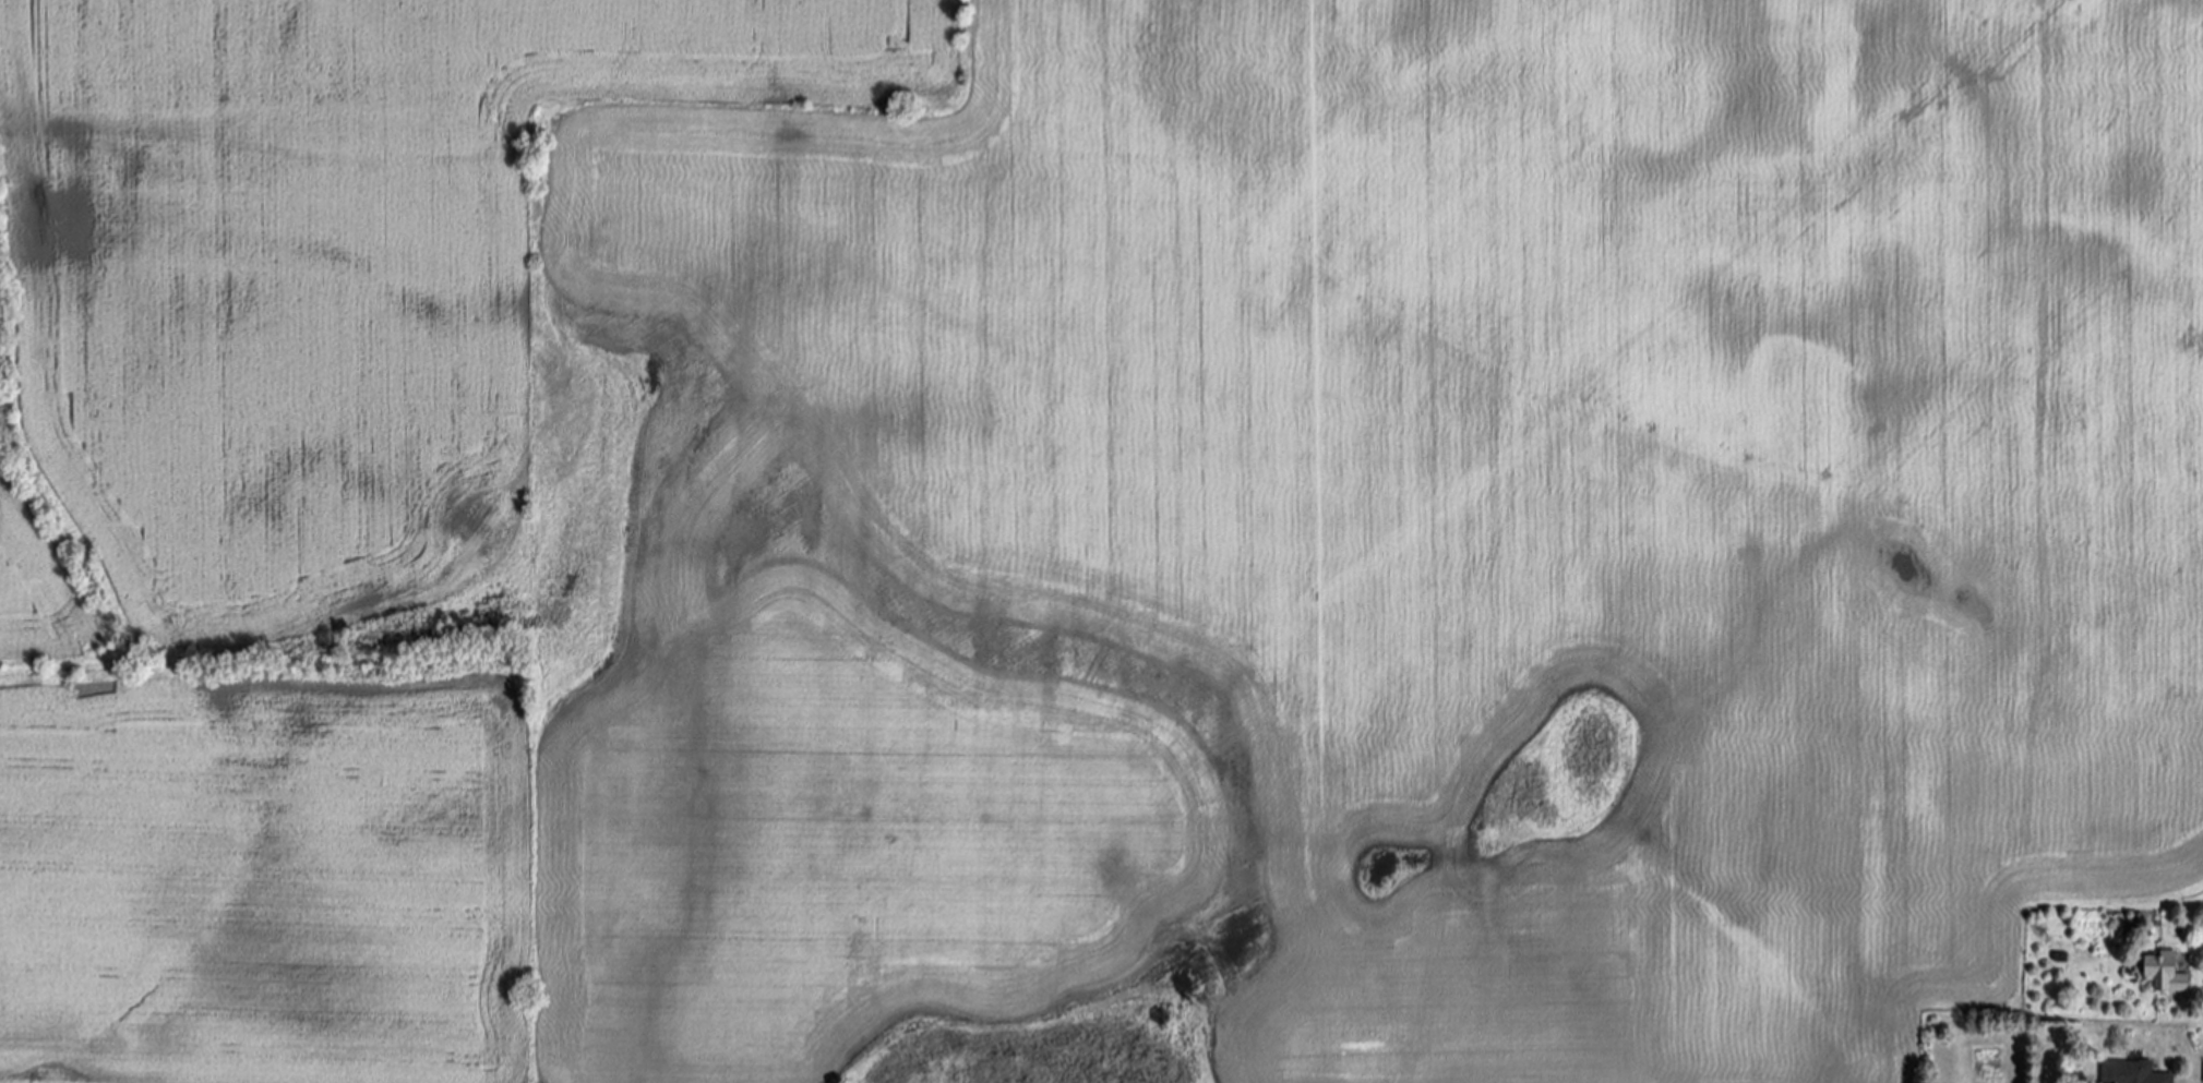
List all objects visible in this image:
building: (2202, 1073)

